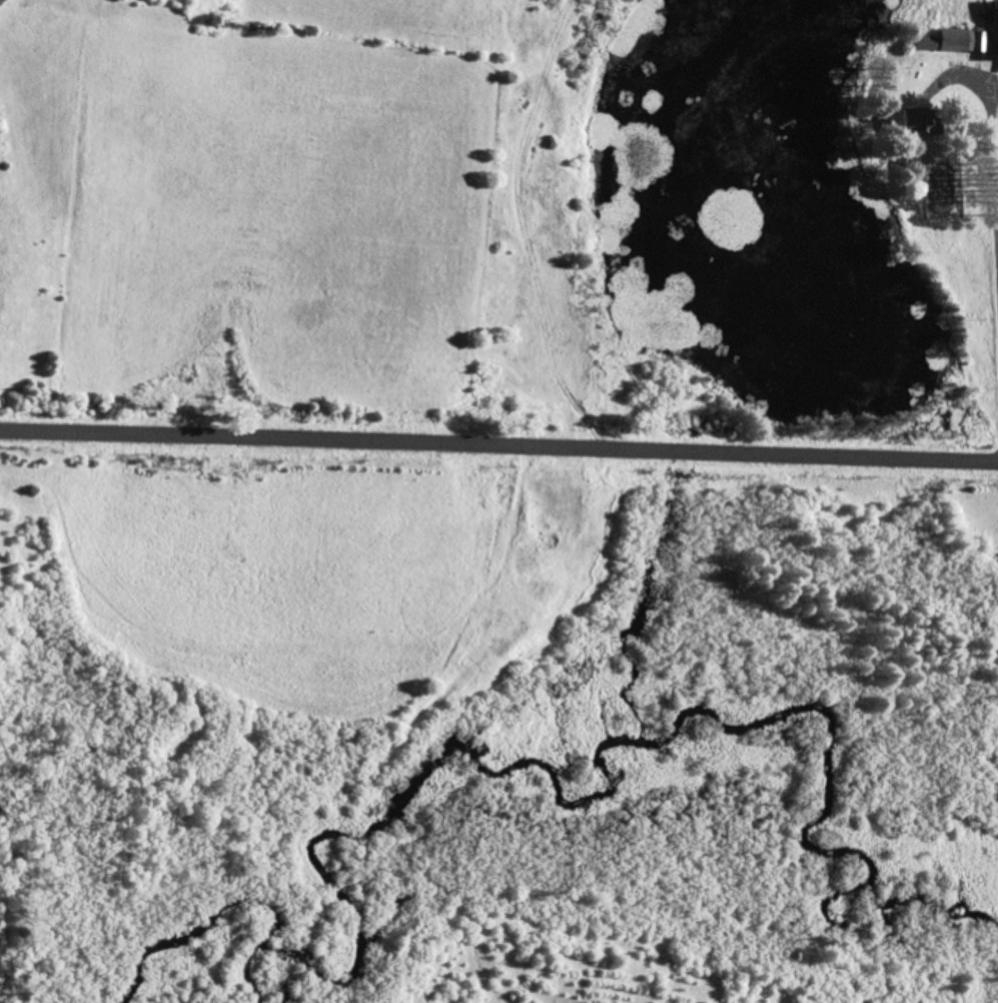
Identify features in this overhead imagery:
building: (995, 27)
building: (959, 39)
building: (918, 121)
road: (995, 177)
road: (499, 447)

